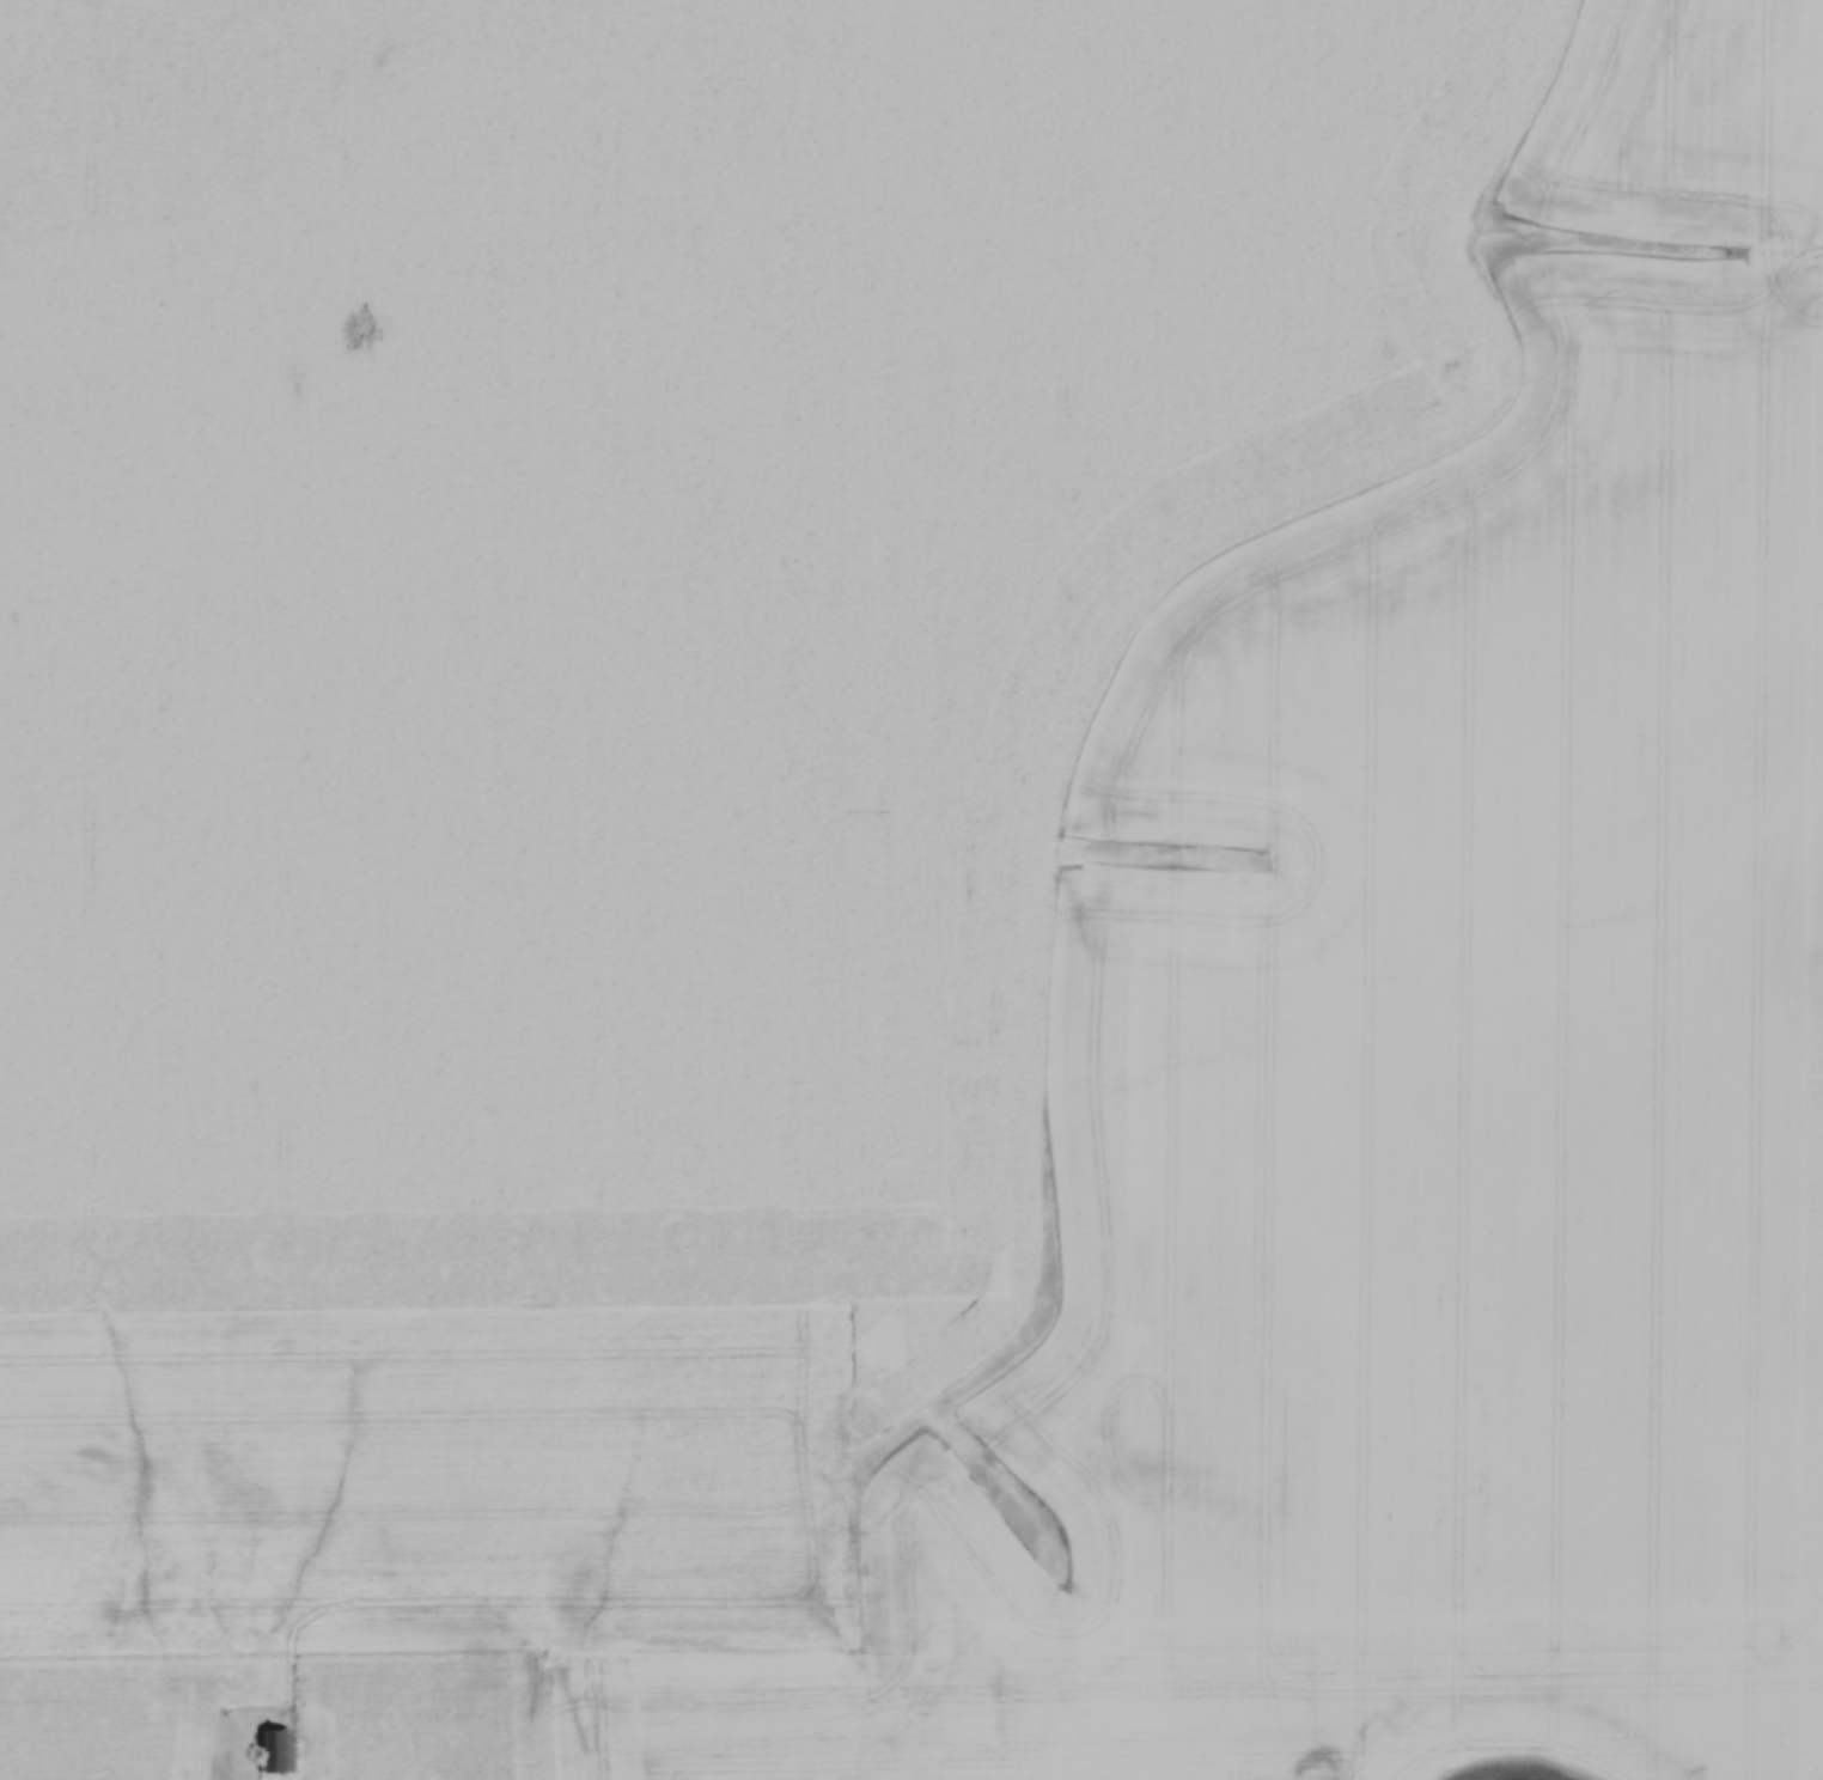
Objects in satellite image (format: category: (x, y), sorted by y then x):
building: (274, 1750)

